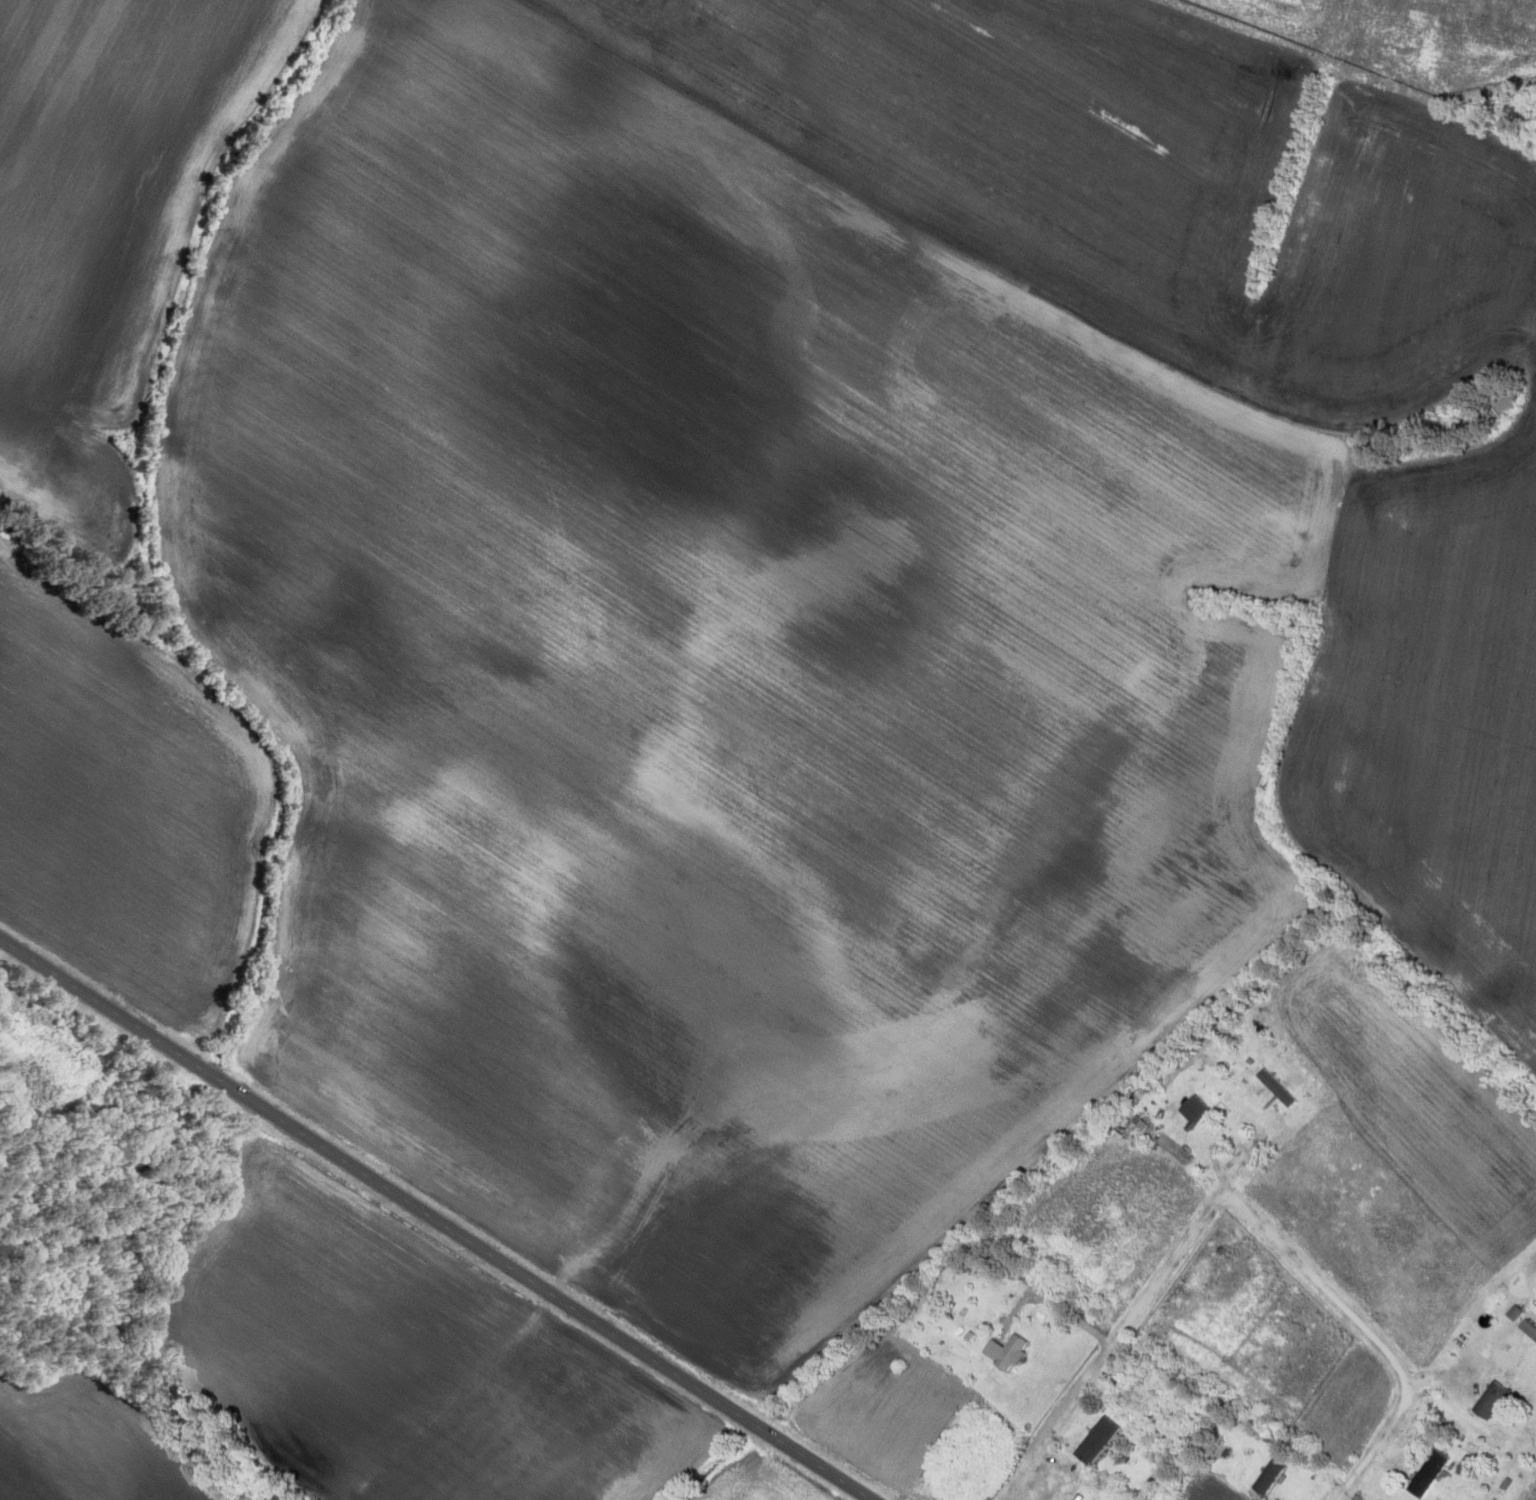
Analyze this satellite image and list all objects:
crop: (116, 798)
building: (1282, 1089)
building: (1196, 1107)
road: (1237, 1205)
road: (437, 1218)
building: (1013, 1352)
building: (1151, 1399)
building: (1486, 1401)
building: (1108, 1444)
building: (1436, 1474)
building: (1275, 1477)

